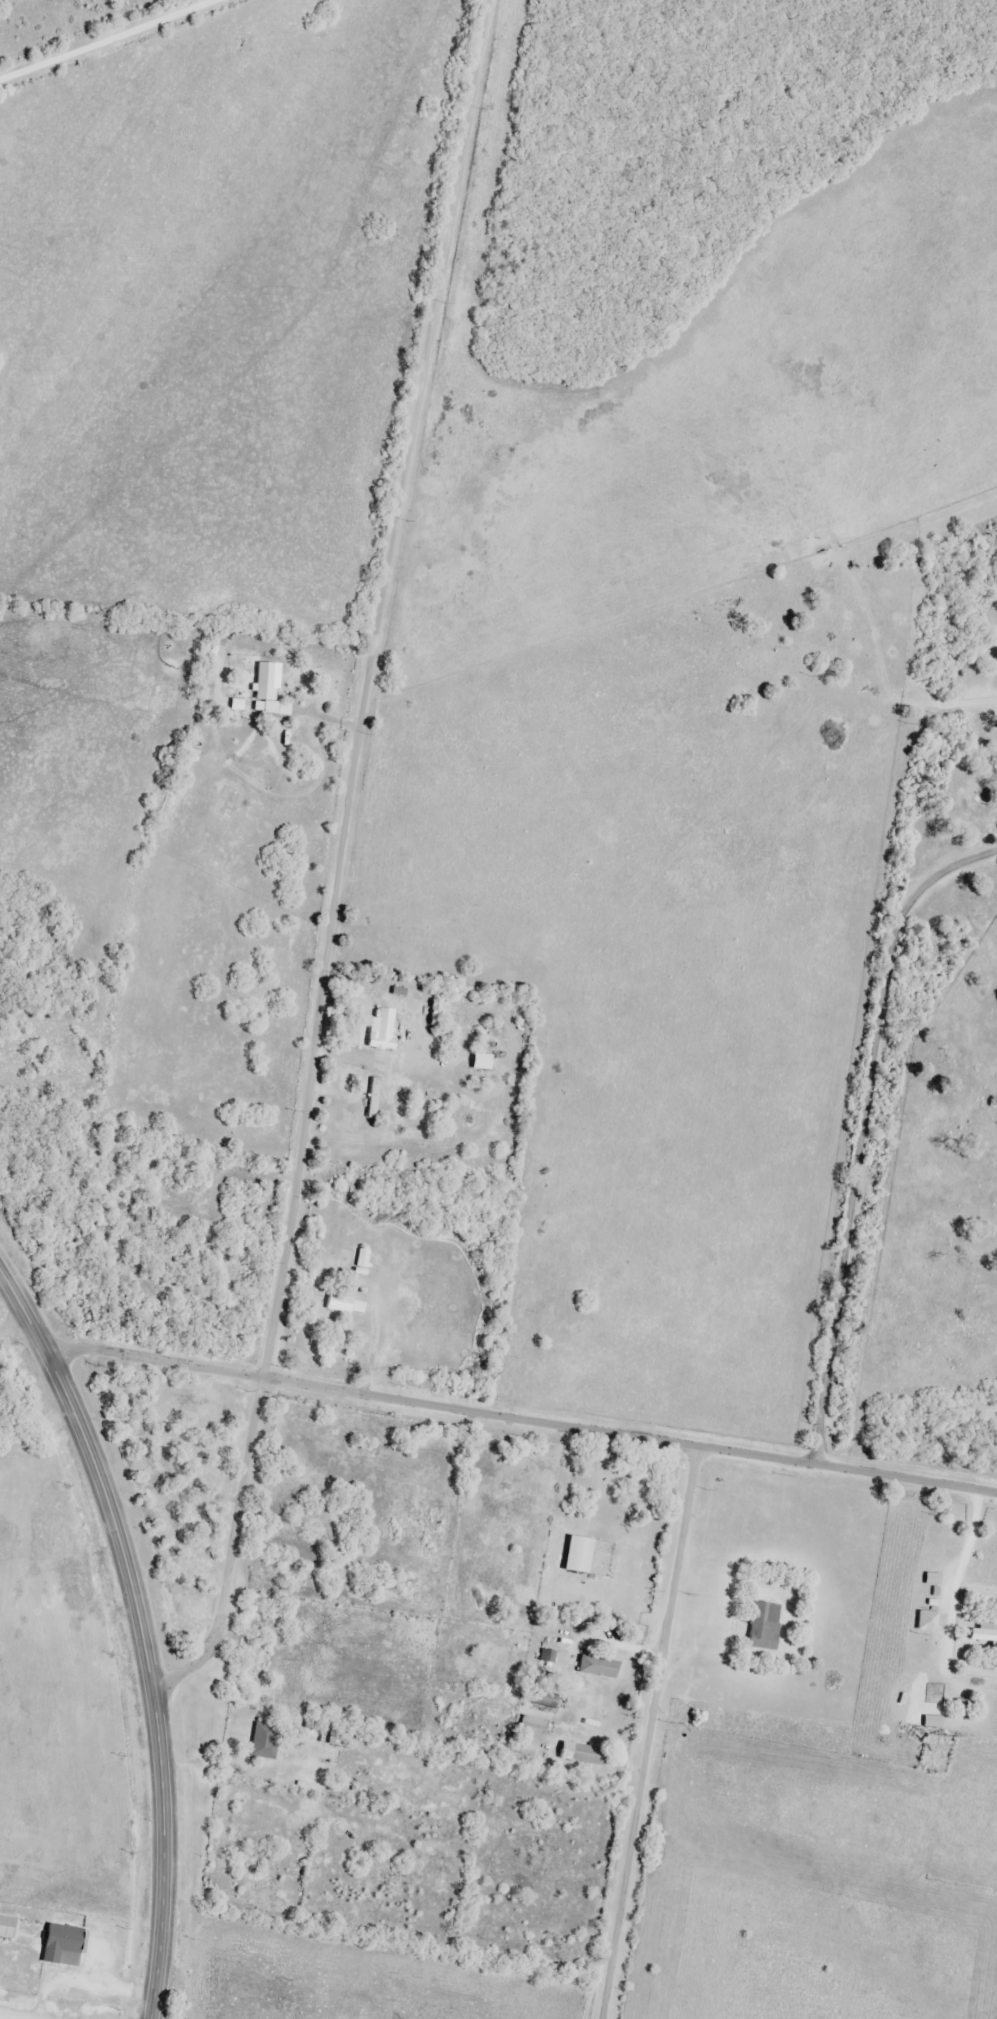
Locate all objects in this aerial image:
road: (67, 24)
road: (543, 649)
road: (336, 860)
road: (862, 1119)
road: (17, 1335)
road: (364, 1398)
road: (846, 1472)
building: (583, 1554)
building: (933, 1621)
road: (137, 1637)
building: (602, 1667)
road: (648, 1734)
road: (11, 2016)

